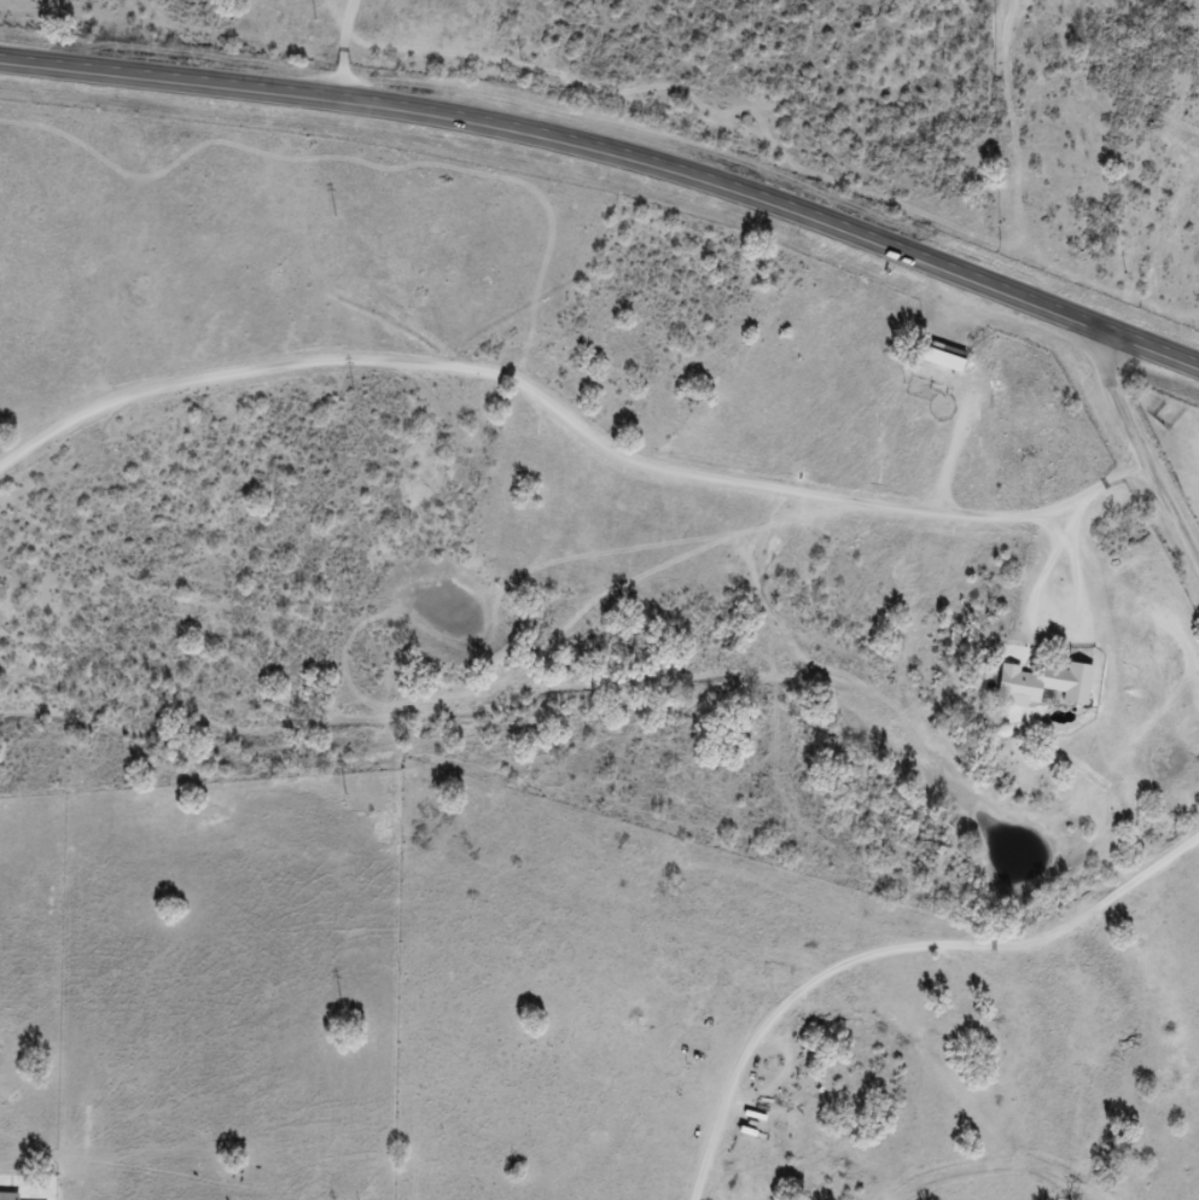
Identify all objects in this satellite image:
road: (616, 155)
building: (943, 355)
road: (1145, 444)
road: (578, 445)
building: (1026, 687)
building: (10, 1195)

